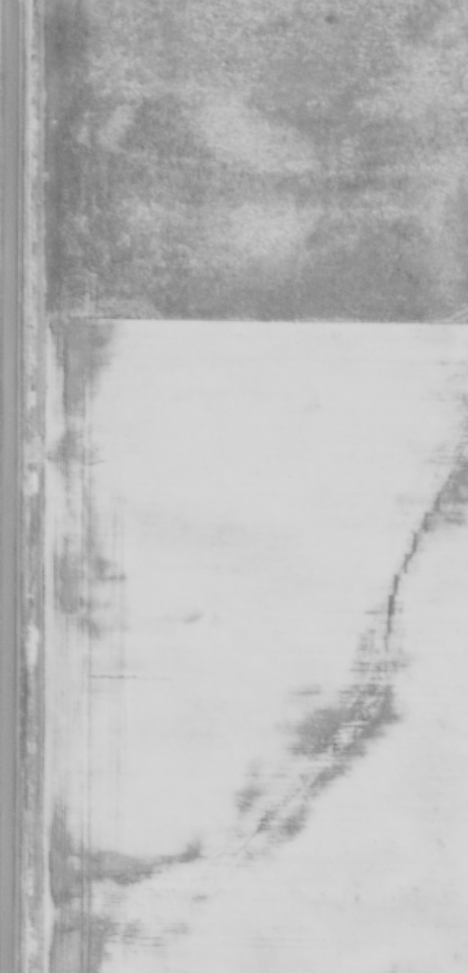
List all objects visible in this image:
road: (10, 486)

